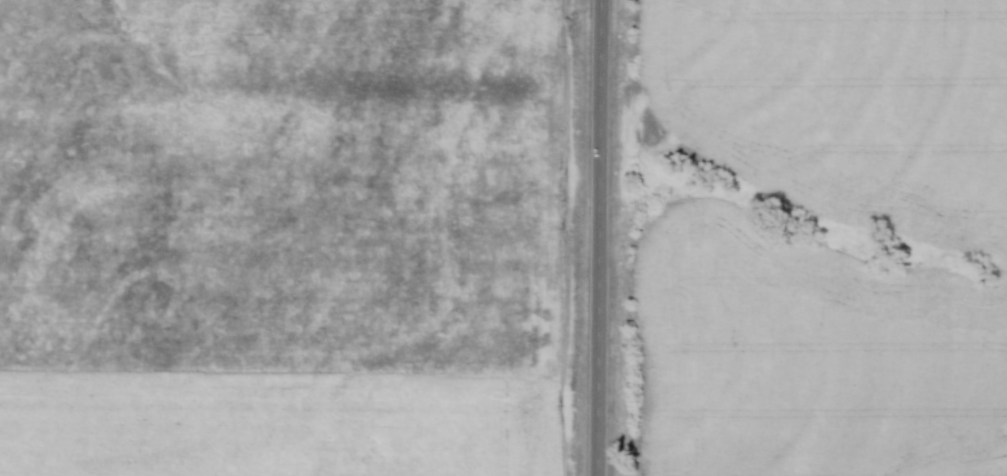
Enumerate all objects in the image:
road: (599, 45)
road: (597, 283)

